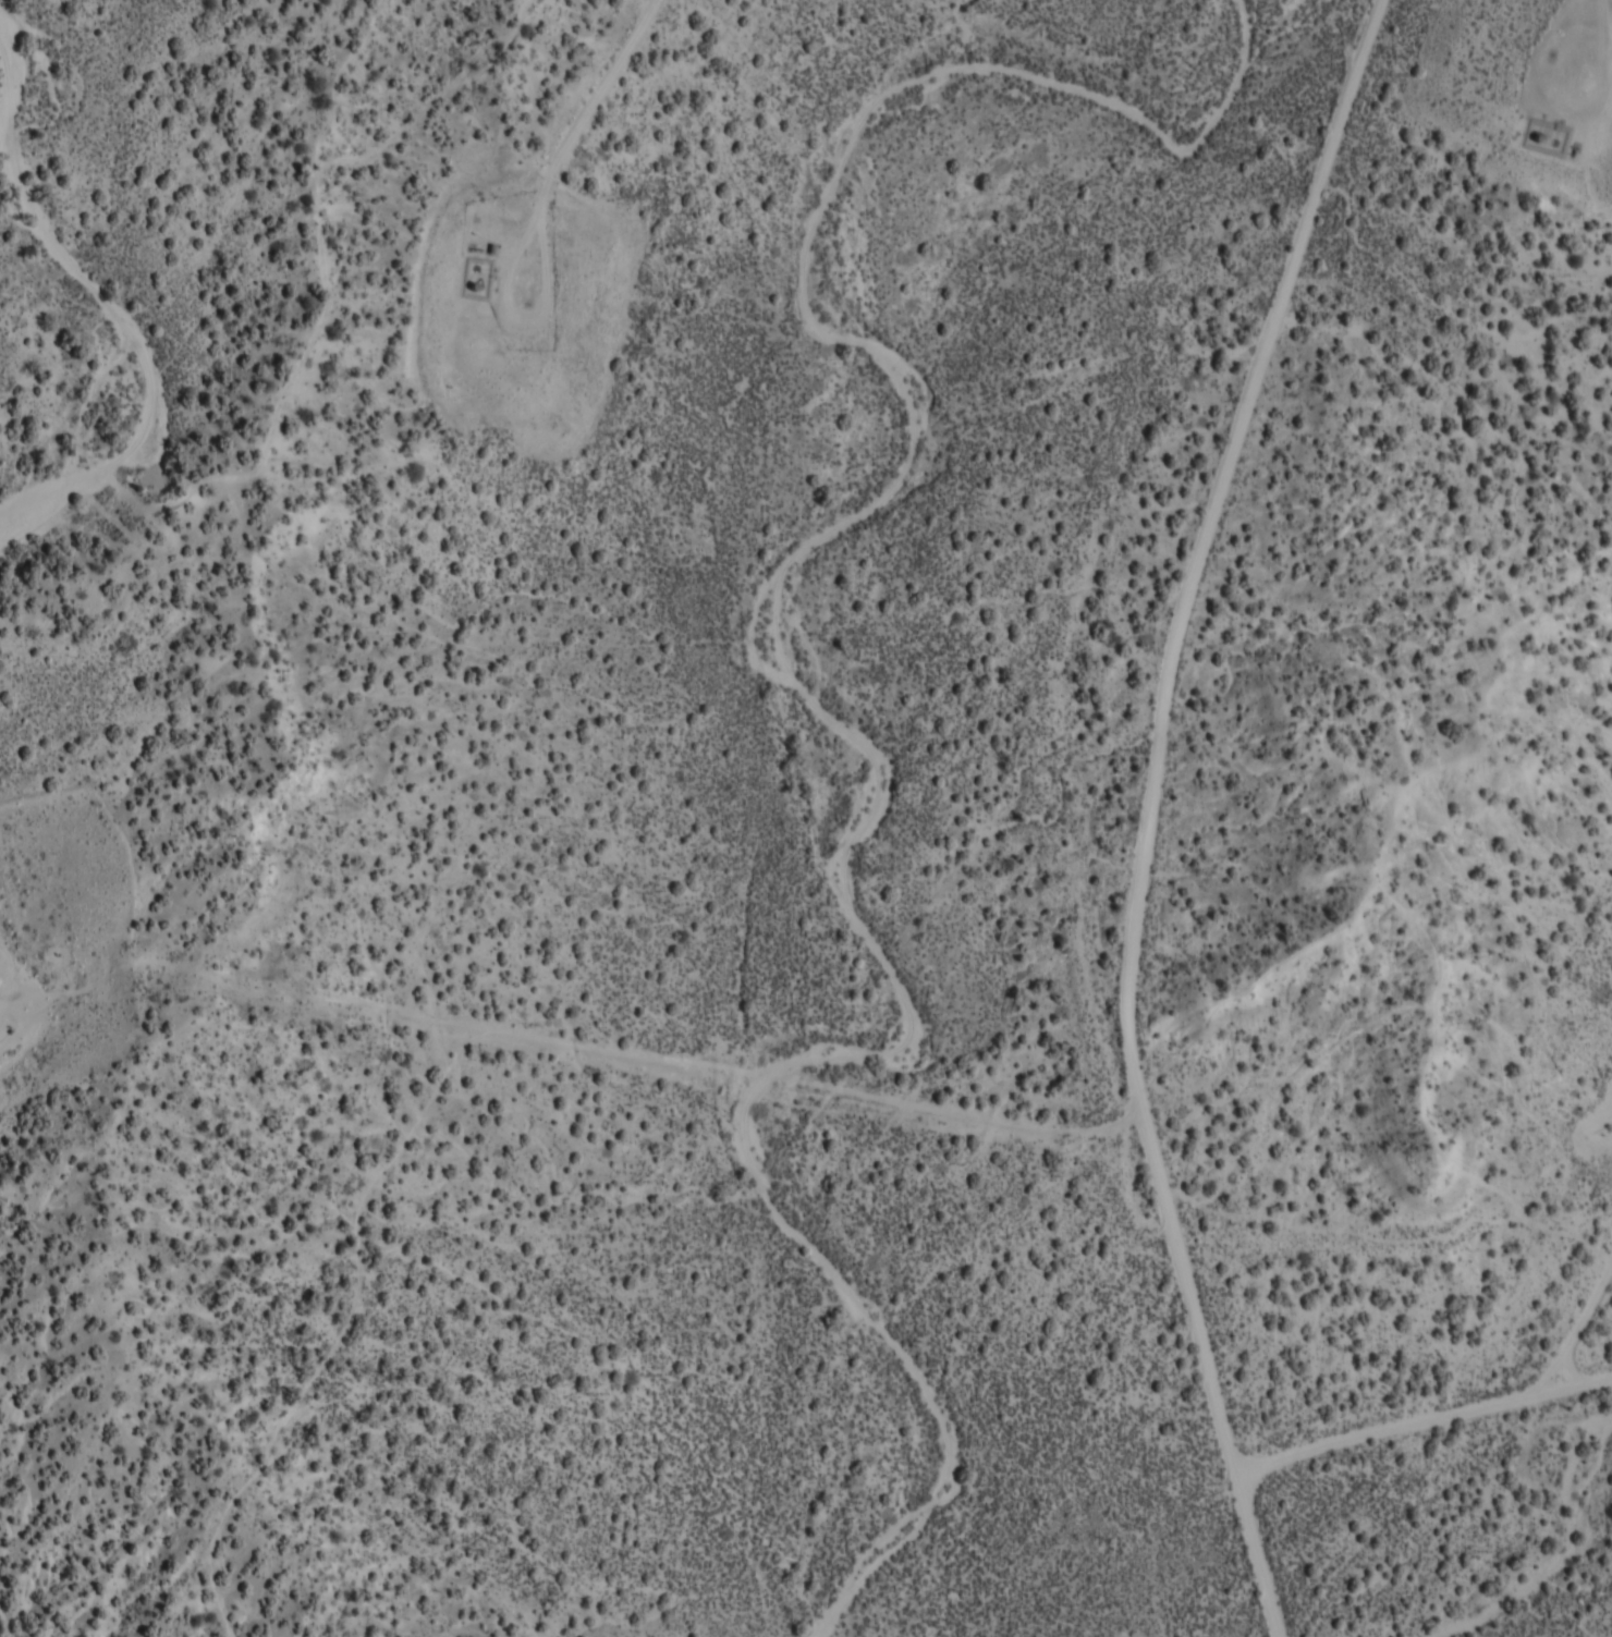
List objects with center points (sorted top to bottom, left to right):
river: (111, 333)
river: (784, 671)
road: (744, 815)
road: (1169, 919)
road: (1546, 1261)
road: (1228, 1549)

